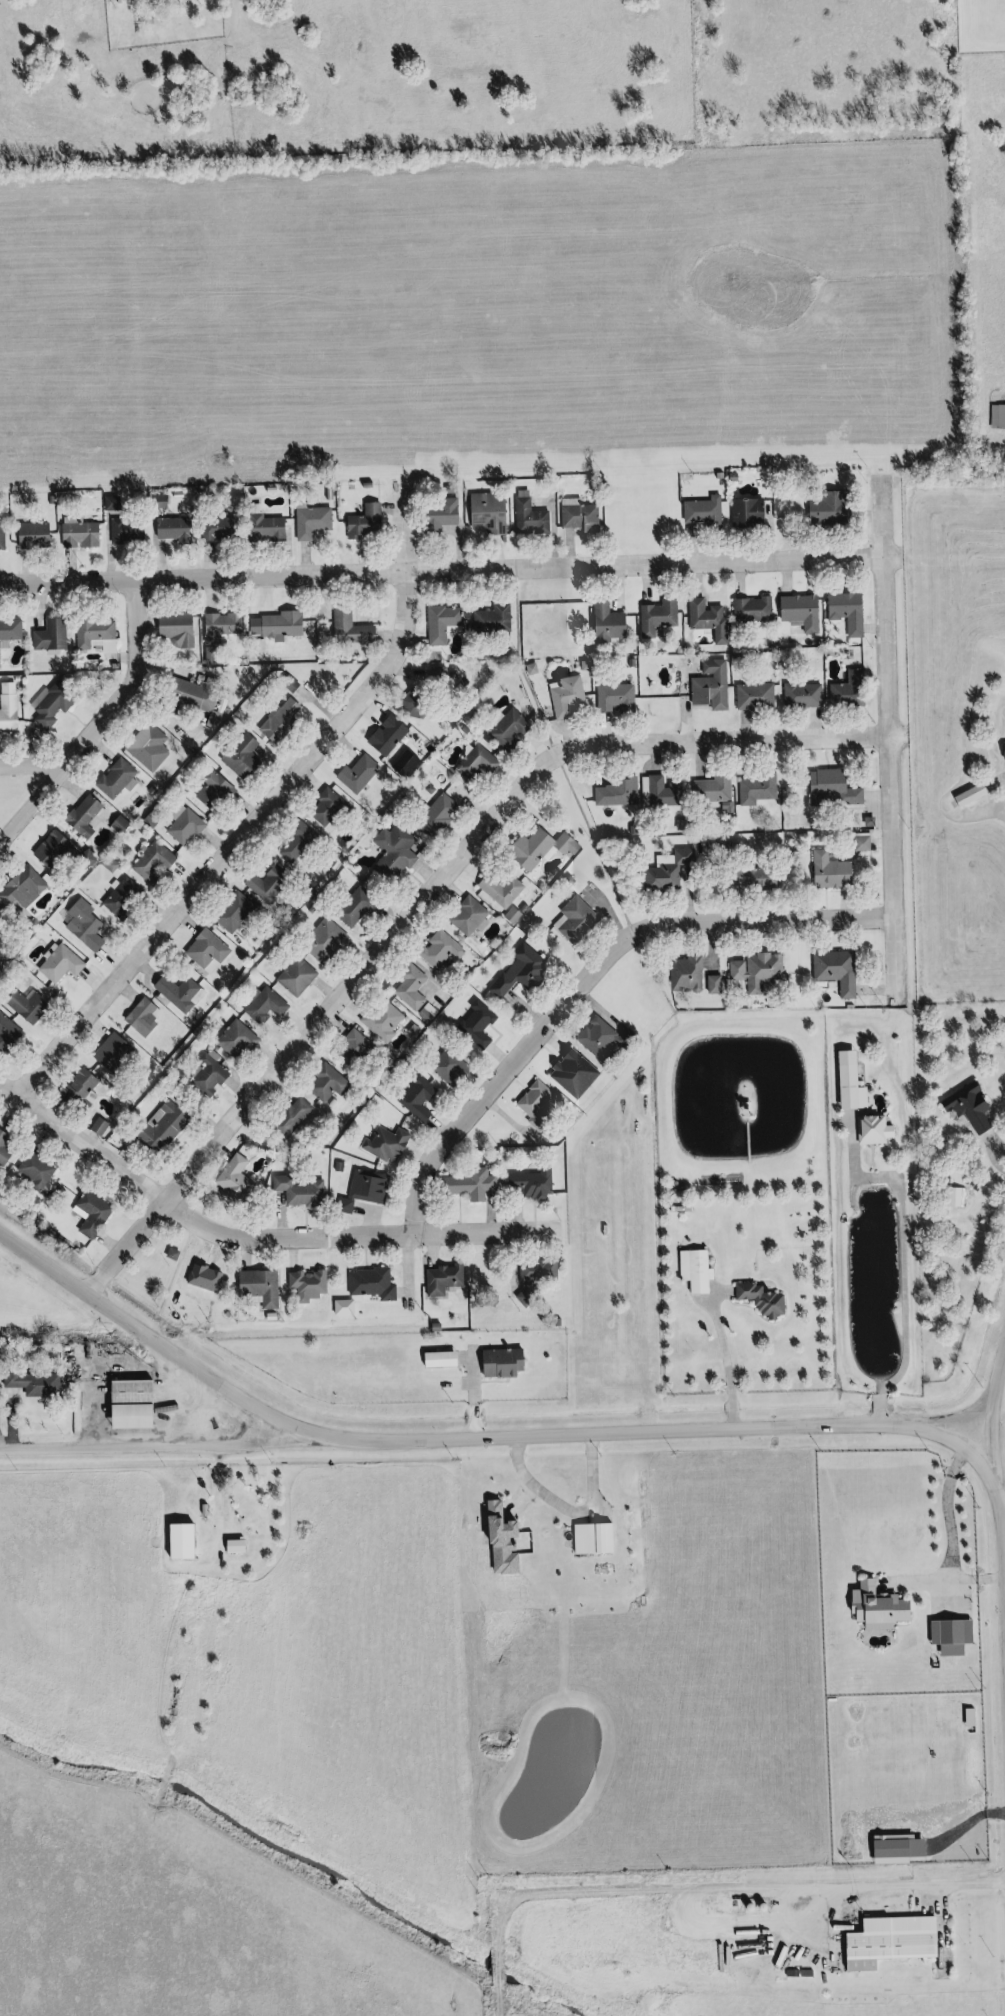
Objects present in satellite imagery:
road: (257, 55)
building: (994, 417)
building: (105, 502)
road: (387, 510)
building: (701, 510)
building: (825, 510)
building: (741, 511)
building: (432, 513)
building: (482, 514)
building: (573, 514)
building: (524, 516)
building: (304, 521)
building: (360, 523)
road: (400, 527)
road: (545, 527)
building: (216, 528)
building: (171, 529)
building: (259, 529)
building: (120, 530)
road: (444, 531)
building: (27, 533)
building: (73, 536)
road: (687, 542)
road: (103, 546)
road: (155, 559)
road: (299, 559)
road: (202, 560)
road: (437, 572)
road: (689, 579)
road: (733, 579)
road: (778, 579)
road: (640, 584)
road: (609, 589)
building: (747, 607)
road: (33, 608)
building: (841, 611)
building: (796, 612)
building: (651, 617)
building: (486, 618)
building: (702, 619)
building: (275, 624)
building: (436, 624)
building: (215, 625)
building: (603, 625)
building: (344, 628)
road: (867, 629)
building: (7, 630)
building: (87, 630)
building: (171, 631)
road: (410, 634)
building: (44, 635)
road: (384, 635)
building: (99, 645)
road: (117, 658)
building: (700, 683)
building: (415, 690)
building: (841, 690)
building: (796, 694)
building: (186, 695)
building: (748, 695)
building: (560, 697)
building: (609, 698)
road: (678, 698)
building: (46, 702)
building: (5, 708)
road: (158, 711)
building: (275, 719)
road: (809, 723)
road: (739, 725)
road: (95, 727)
road: (599, 727)
building: (502, 728)
building: (381, 733)
road: (561, 733)
road: (880, 739)
road: (531, 746)
building: (142, 747)
road: (97, 751)
building: (998, 752)
road: (820, 755)
building: (236, 757)
road: (647, 758)
road: (735, 760)
building: (472, 761)
road: (693, 761)
road: (33, 765)
building: (353, 774)
road: (502, 775)
building: (111, 778)
road: (992, 780)
road: (302, 783)
building: (828, 786)
building: (754, 787)
building: (209, 788)
road: (65, 790)
building: (611, 791)
building: (658, 791)
park: (22, 794)
building: (965, 794)
building: (709, 795)
road: (870, 796)
road: (467, 802)
road: (240, 807)
building: (322, 810)
building: (83, 814)
building: (429, 815)
road: (528, 816)
building: (179, 824)
road: (497, 826)
building: (296, 841)
road: (208, 842)
road: (875, 844)
road: (229, 845)
building: (857, 845)
building: (529, 847)
building: (48, 849)
building: (392, 851)
road: (851, 856)
building: (147, 863)
road: (229, 869)
building: (825, 870)
building: (662, 872)
road: (179, 876)
building: (748, 876)
building: (262, 883)
building: (18, 885)
building: (495, 889)
road: (829, 893)
road: (420, 895)
road: (684, 897)
building: (117, 898)
road: (840, 901)
road: (818, 902)
building: (349, 903)
building: (228, 911)
building: (462, 914)
building: (571, 919)
road: (182, 923)
building: (79, 926)
road: (757, 935)
road: (729, 940)
building: (320, 941)
road: (676, 941)
road: (703, 946)
building: (436, 948)
building: (202, 950)
road: (744, 952)
road: (107, 960)
building: (54, 964)
building: (830, 969)
road: (140, 970)
building: (751, 970)
building: (514, 971)
building: (680, 974)
building: (290, 976)
road: (586, 977)
road: (86, 983)
building: (709, 984)
building: (405, 986)
road: (869, 989)
road: (120, 992)
building: (173, 992)
building: (260, 1005)
building: (20, 1006)
road: (593, 1011)
building: (132, 1014)
building: (376, 1018)
building: (473, 1025)
road: (43, 1031)
road: (88, 1031)
building: (7, 1035)
building: (599, 1039)
building: (230, 1041)
building: (349, 1047)
building: (109, 1054)
building: (444, 1065)
building: (203, 1076)
building: (321, 1082)
road: (511, 1082)
road: (276, 1088)
building: (69, 1089)
building: (850, 1090)
building: (409, 1096)
road: (264, 1101)
building: (534, 1106)
building: (969, 1108)
road: (9, 1112)
road: (193, 1115)
building: (284, 1118)
road: (504, 1121)
building: (156, 1127)
building: (93, 1128)
building: (872, 1131)
building: (1, 1138)
road: (40, 1140)
road: (742, 1140)
building: (380, 1143)
road: (984, 1144)
road: (217, 1150)
building: (2, 1153)
road: (866, 1162)
building: (332, 1166)
building: (30, 1168)
building: (229, 1182)
building: (526, 1182)
road: (103, 1184)
building: (466, 1184)
building: (363, 1186)
fountain: (209, 1189)
building: (292, 1191)
building: (957, 1198)
road: (197, 1206)
road: (484, 1213)
building: (85, 1214)
road: (452, 1214)
road: (527, 1215)
road: (251, 1241)
road: (101, 1244)
building: (166, 1253)
road: (238, 1255)
road: (363, 1255)
road: (894, 1258)
road: (387, 1265)
road: (253, 1266)
road: (407, 1266)
building: (532, 1269)
building: (690, 1270)
building: (436, 1279)
building: (363, 1284)
building: (254, 1288)
building: (519, 1296)
road: (712, 1297)
building: (753, 1299)
road: (731, 1306)
building: (435, 1359)
road: (459, 1360)
road: (718, 1360)
building: (494, 1363)
building: (29, 1383)
road: (485, 1383)
road: (466, 1395)
road: (988, 1399)
building: (128, 1402)
road: (533, 1436)
road: (148, 1445)
road: (944, 1544)
building: (234, 1547)
building: (871, 1607)
road: (701, 1891)
building: (889, 1943)

